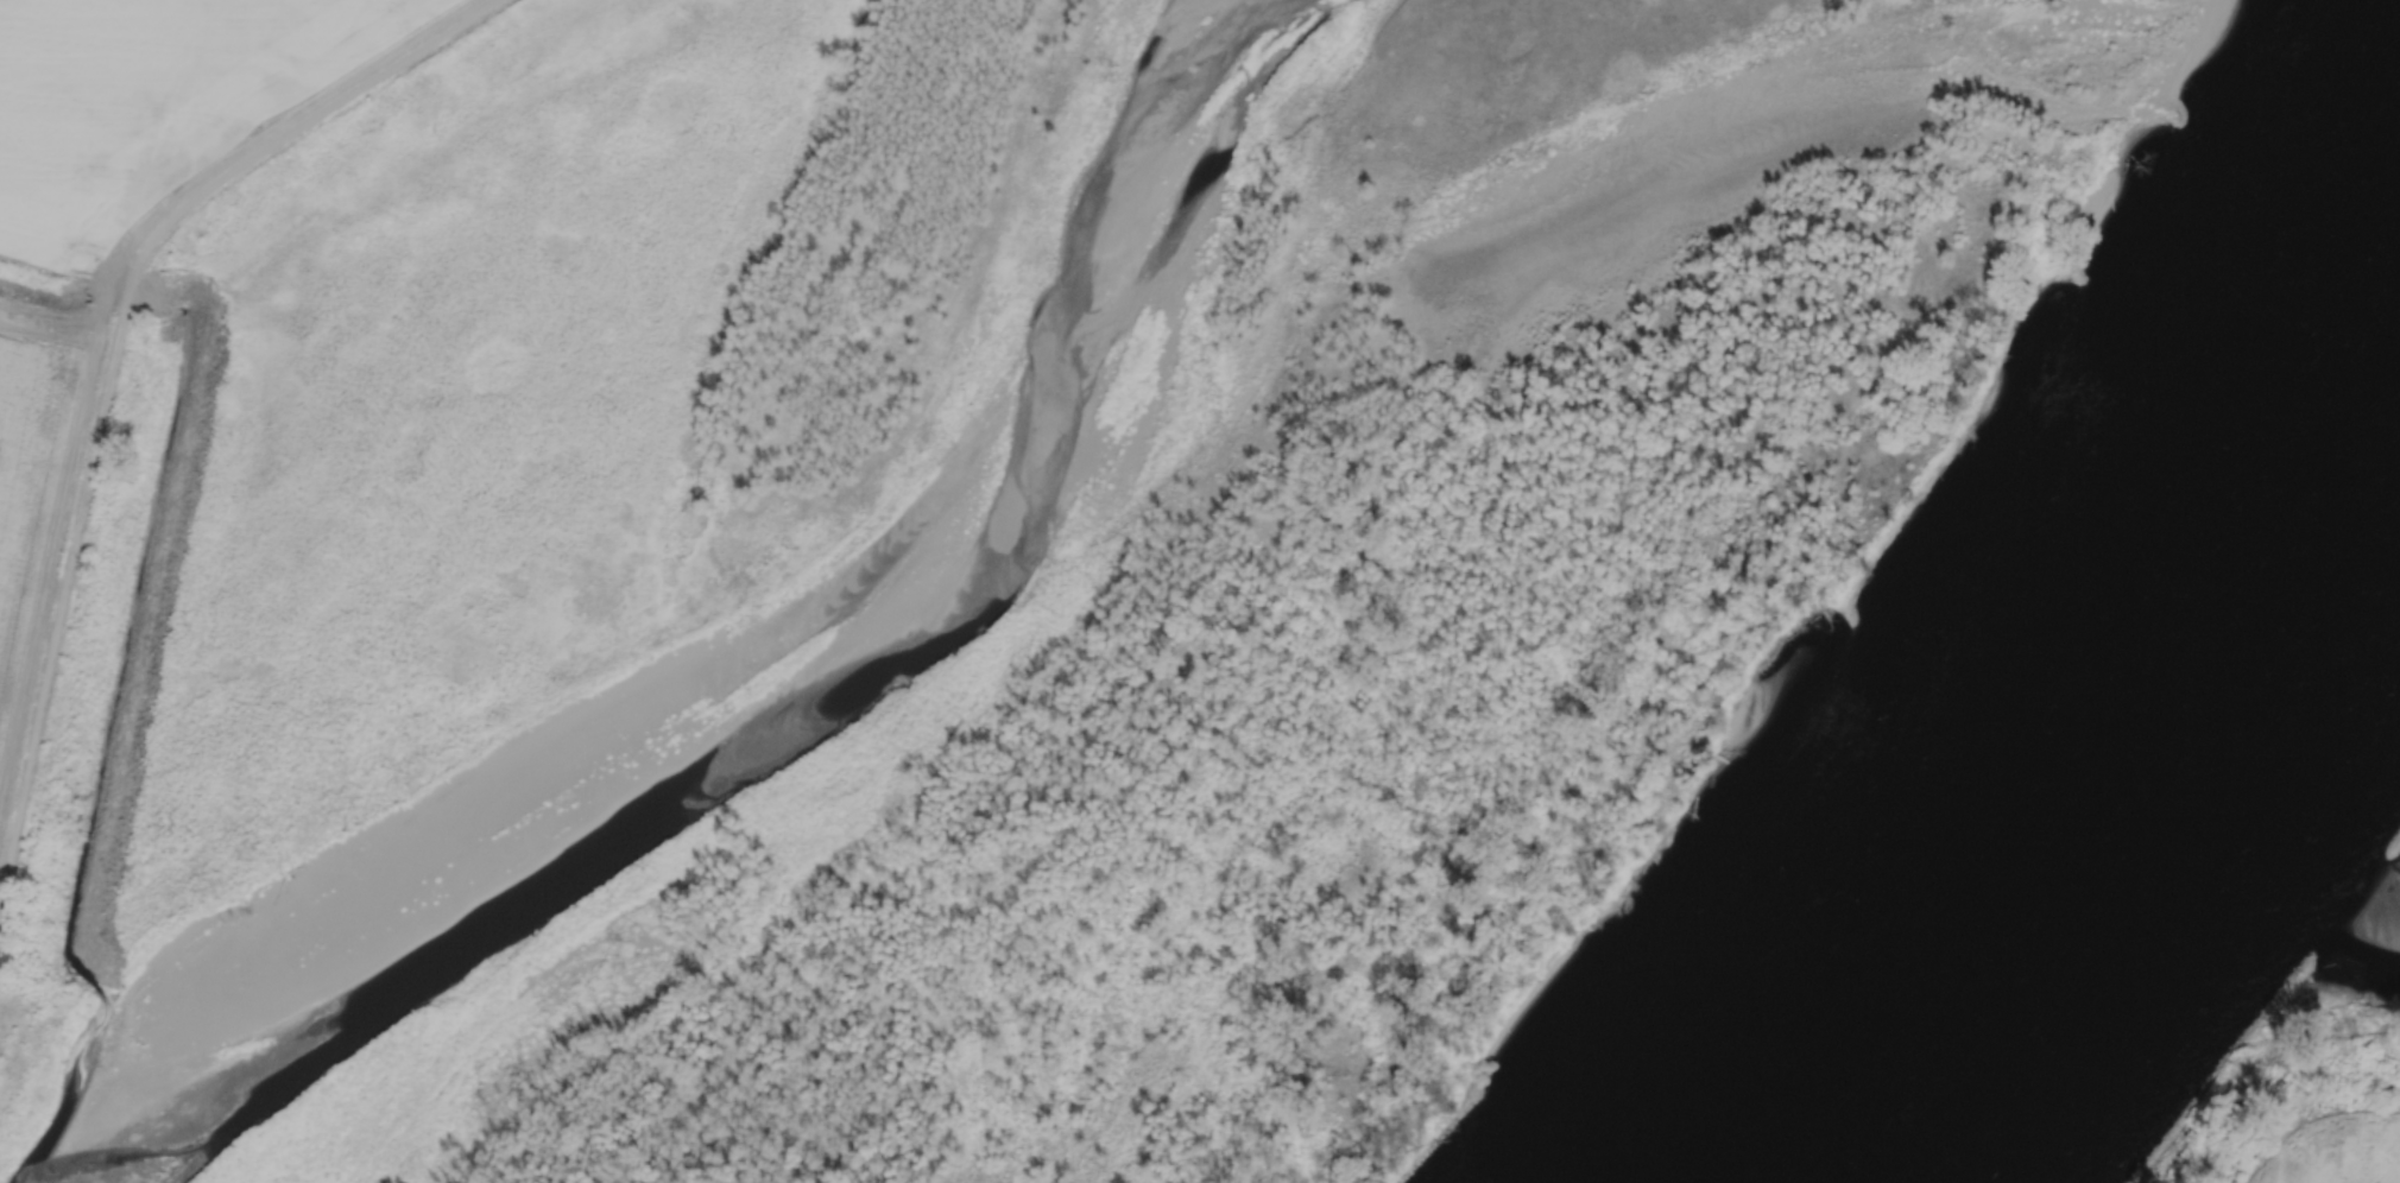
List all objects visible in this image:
road: (105, 302)
river: (2148, 773)
road: (69, 986)
road: (2381, 1175)

